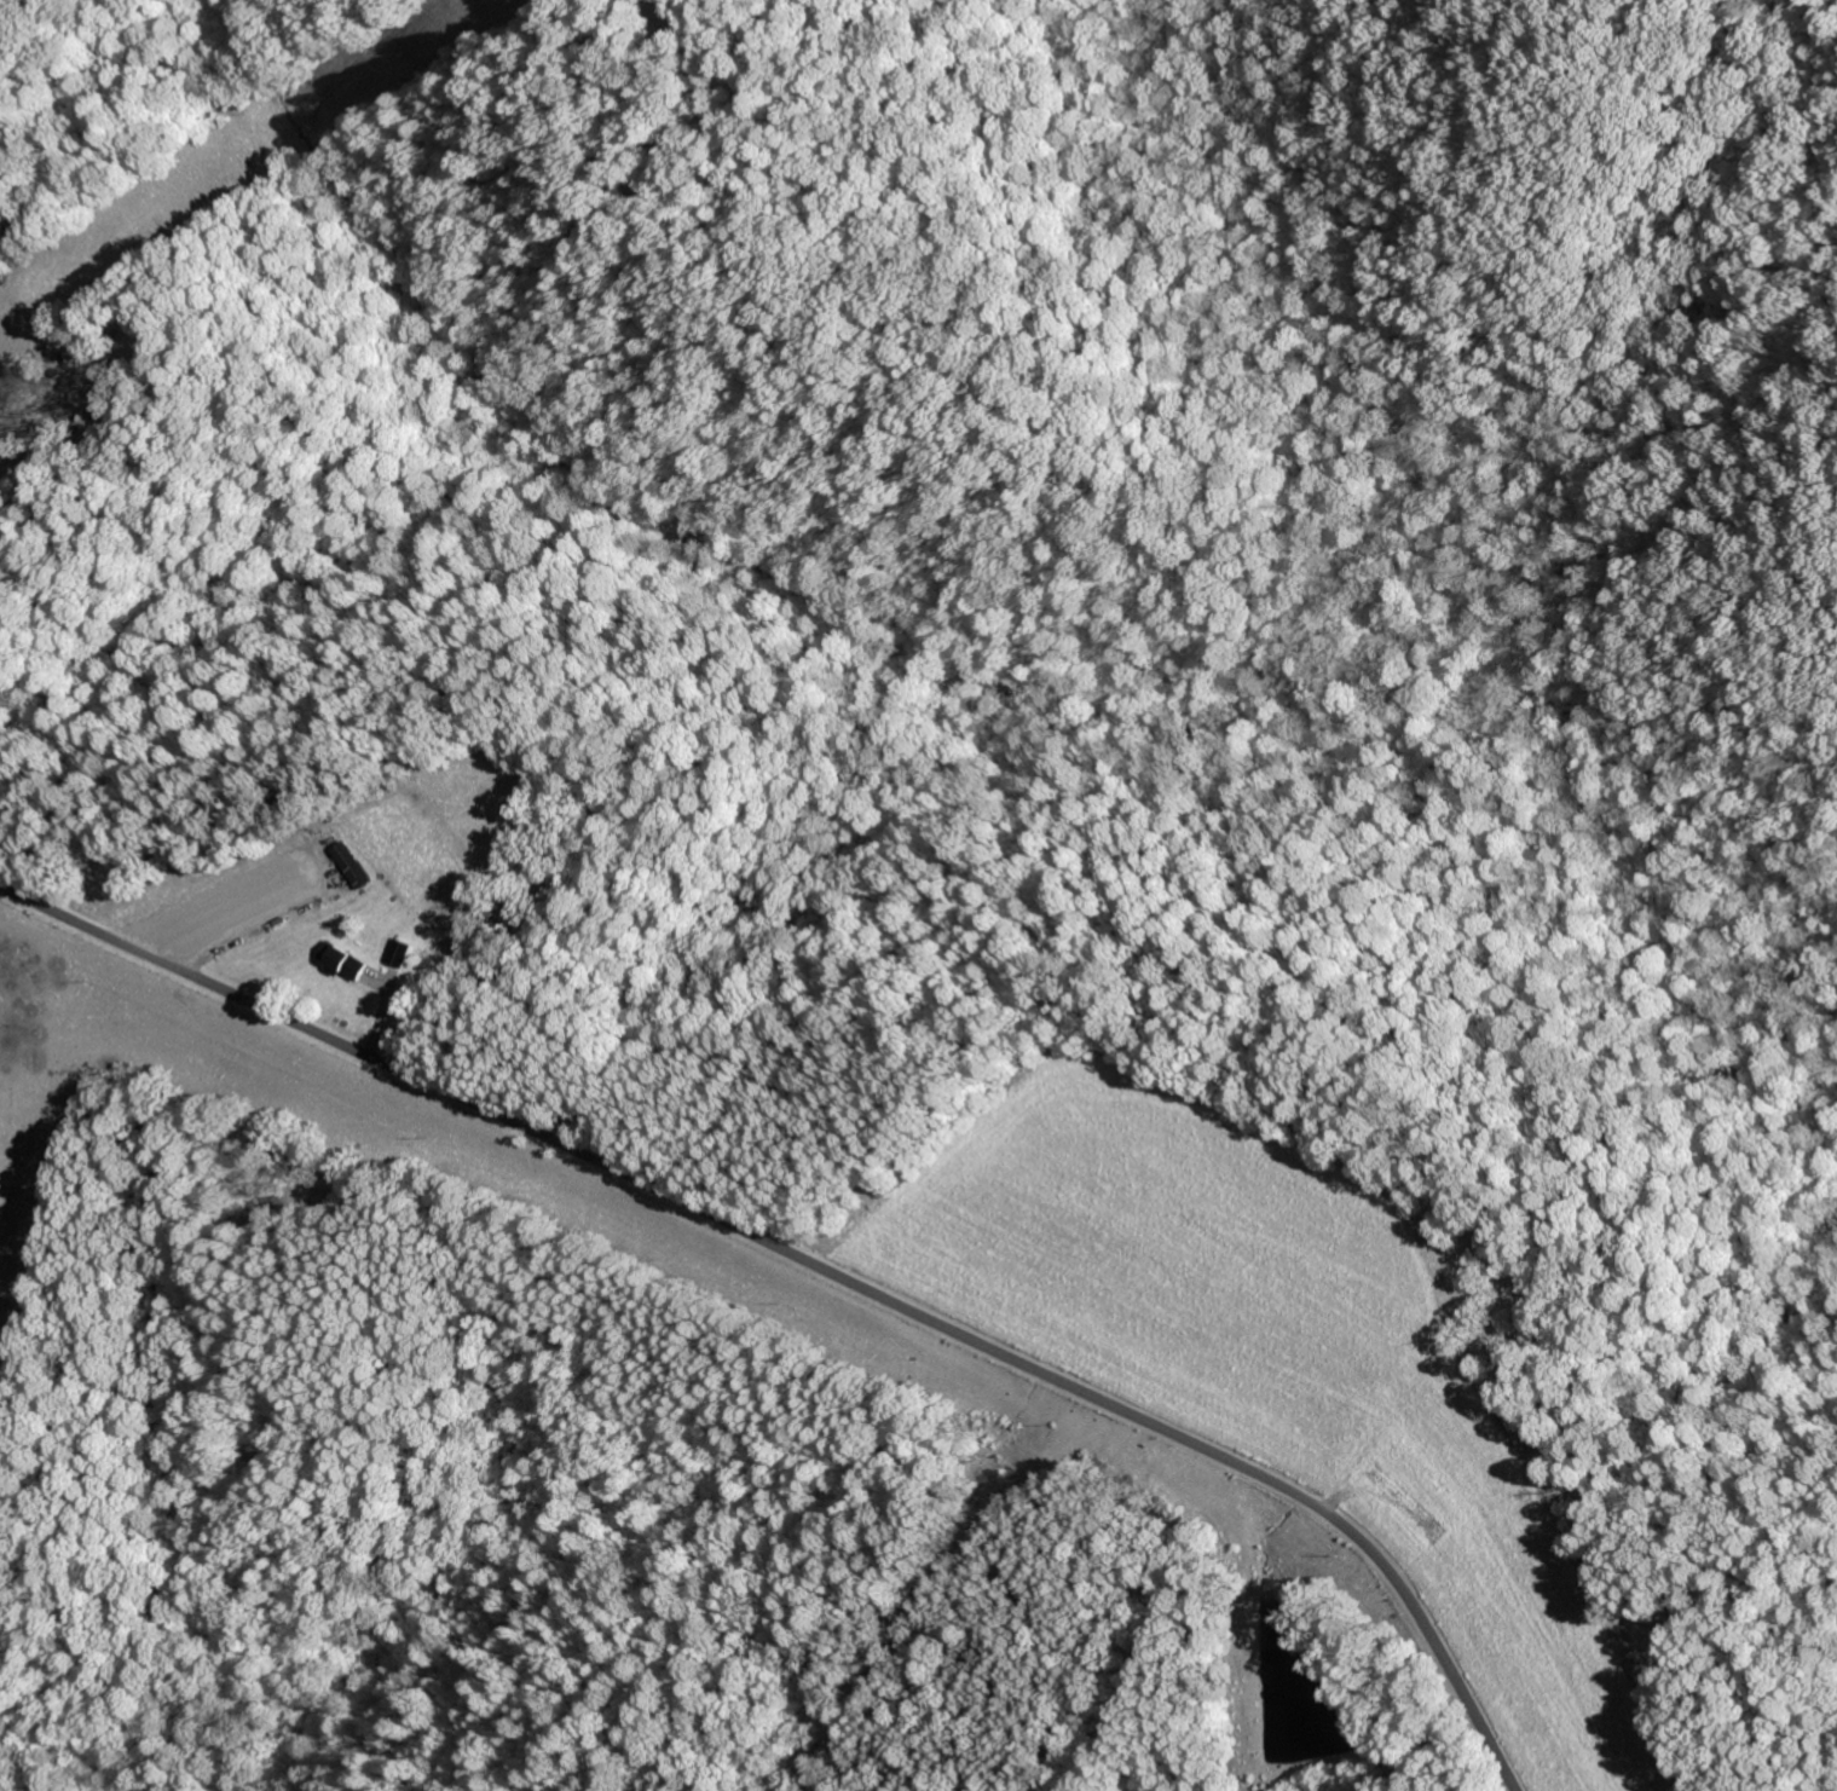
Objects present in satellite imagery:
building: (351, 867)
building: (402, 955)
building: (343, 964)
road: (818, 1269)

